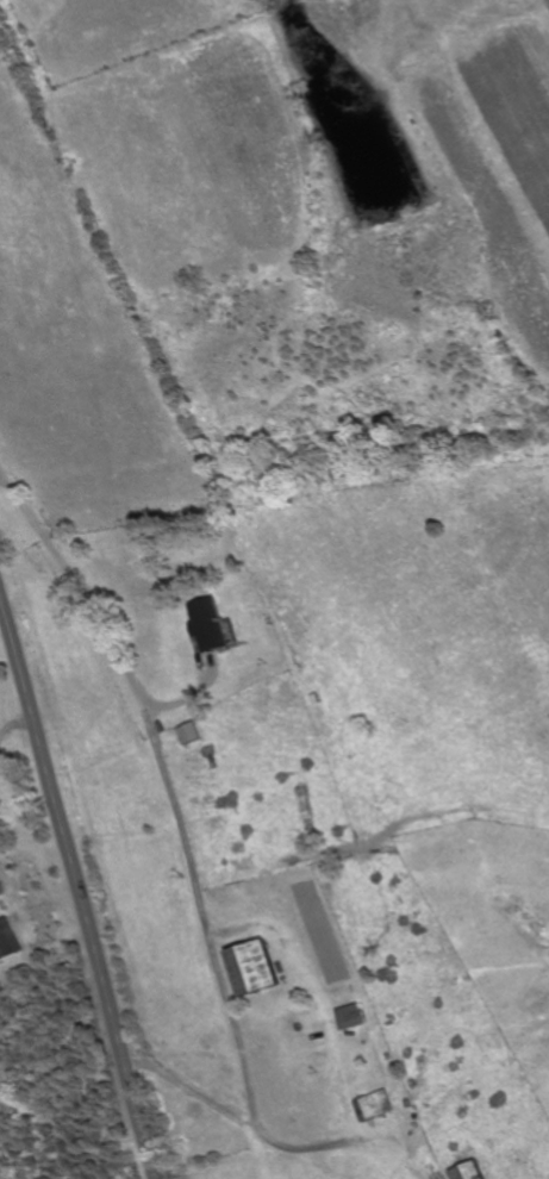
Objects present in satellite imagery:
road: (8, 487)
road: (89, 598)
building: (207, 624)
building: (188, 732)
road: (186, 843)
road: (75, 894)
building: (5, 941)
building: (247, 967)
road: (327, 1009)
building: (350, 1017)
building: (375, 1105)
building: (469, 1171)

